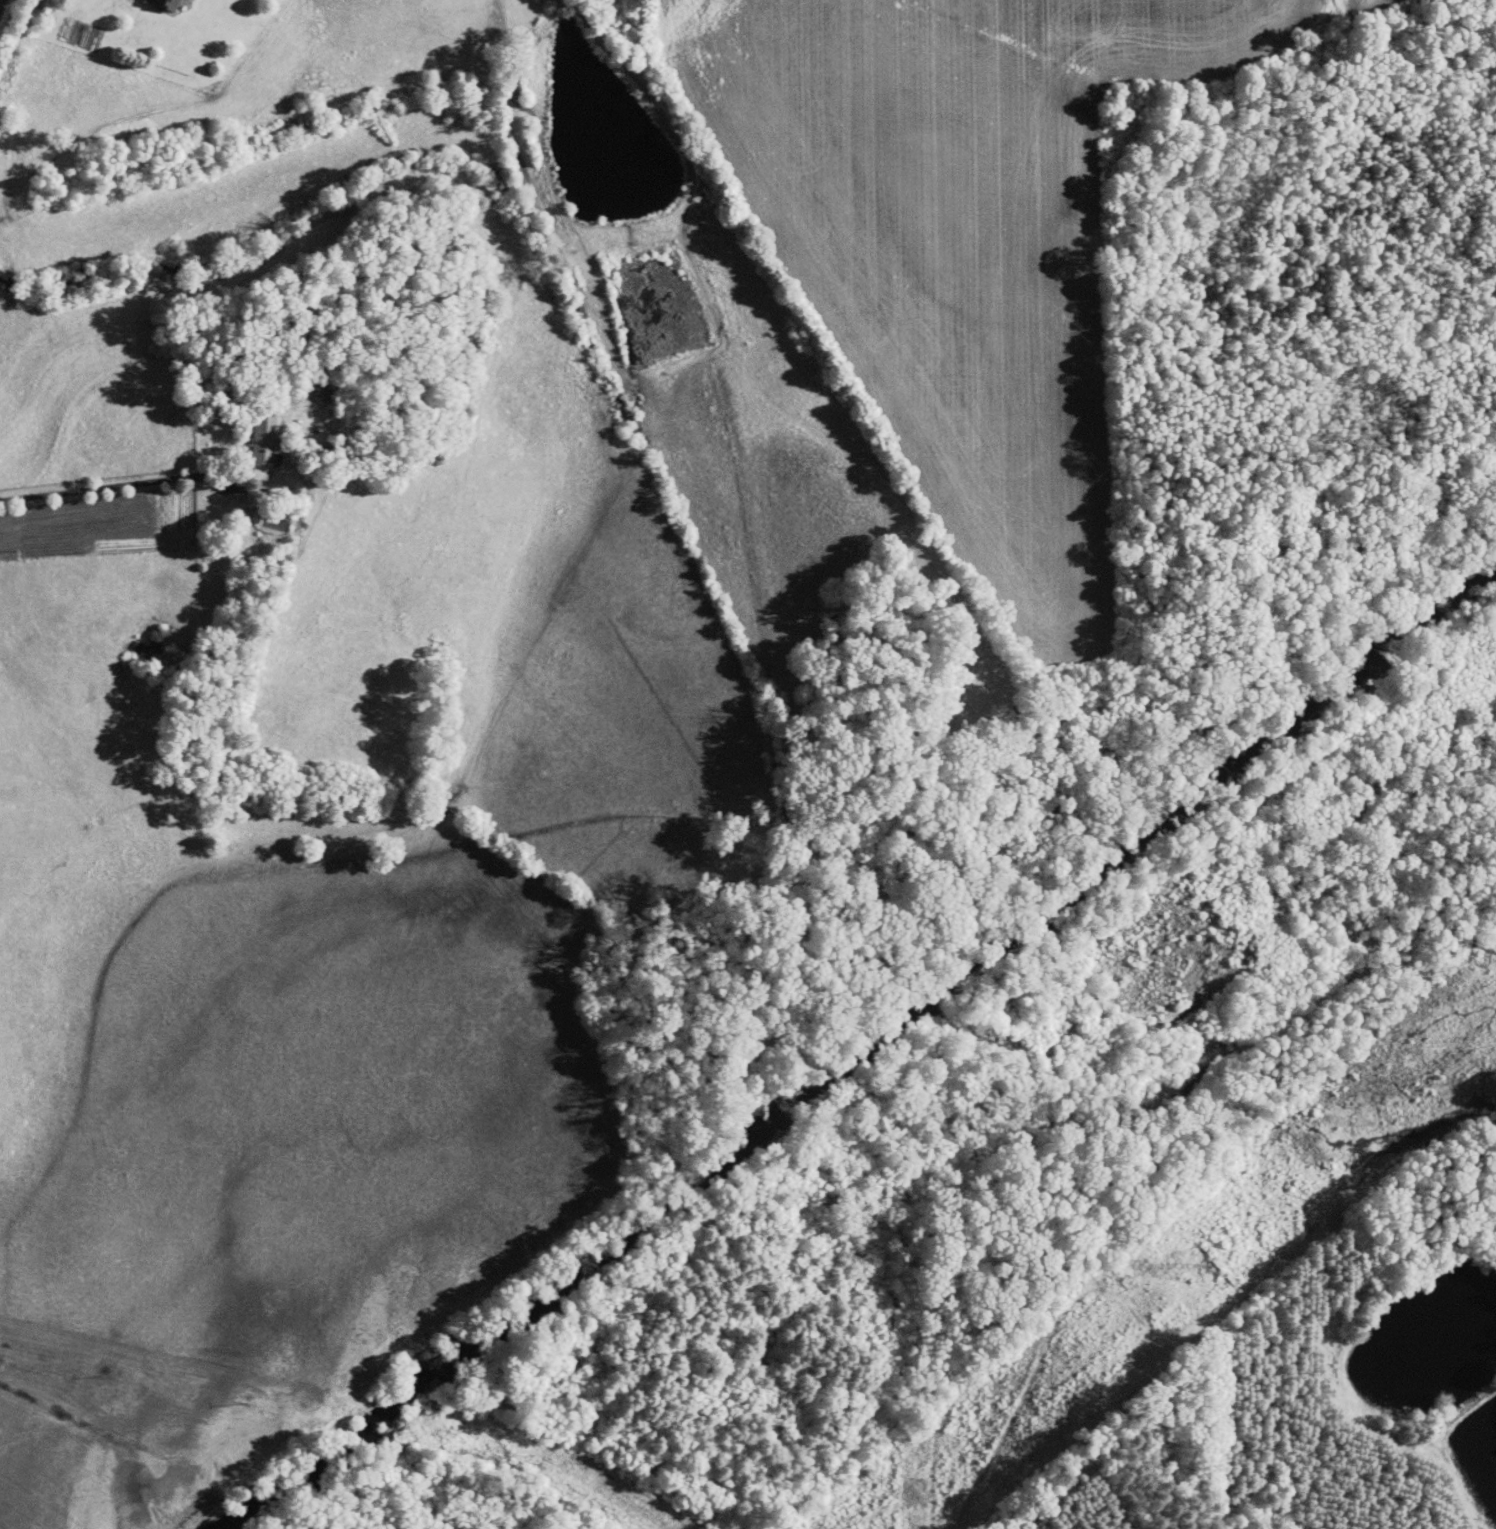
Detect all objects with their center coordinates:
building: (169, 3)
road: (1, 4)
building: (324, 388)
building: (268, 437)
road: (117, 485)
power tower: (1197, 1273)

